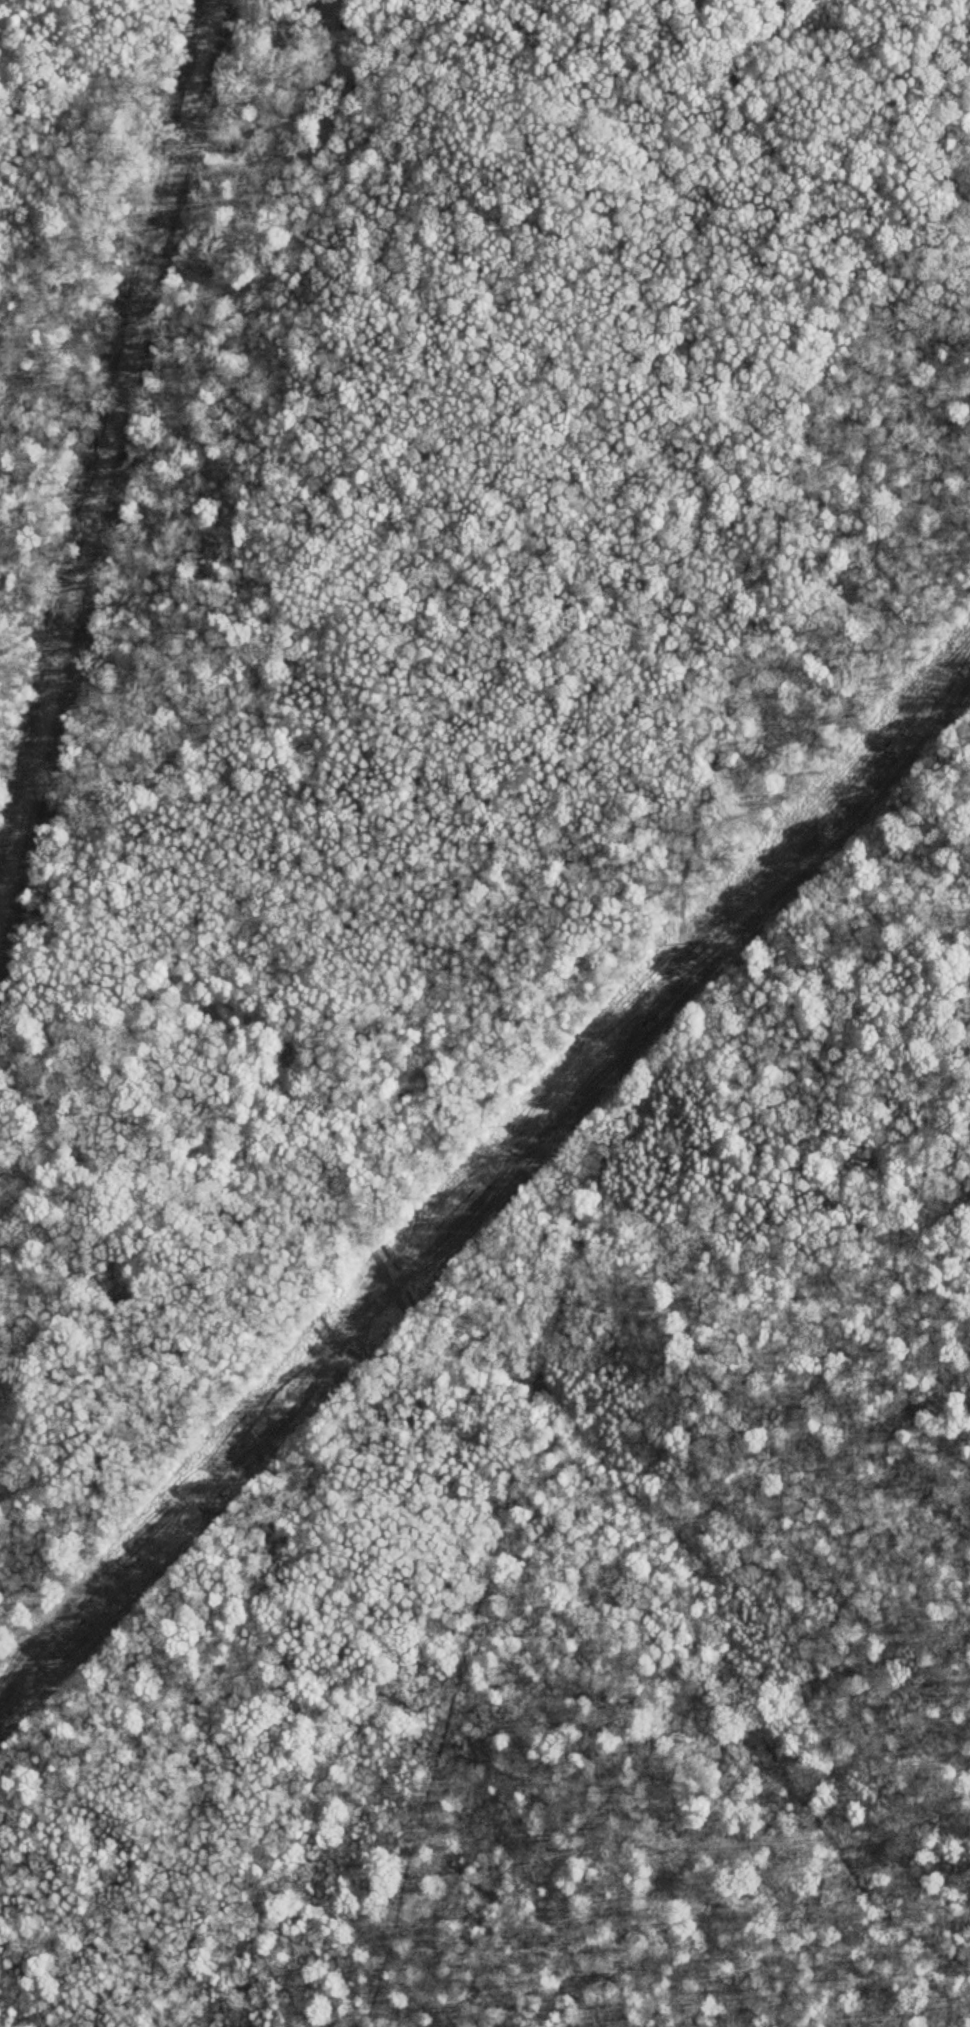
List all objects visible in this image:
road: (106, 453)
road: (4, 871)
park: (485, 1013)
road: (295, 1105)
road: (735, 1682)
road: (453, 1704)
road: (507, 1824)

